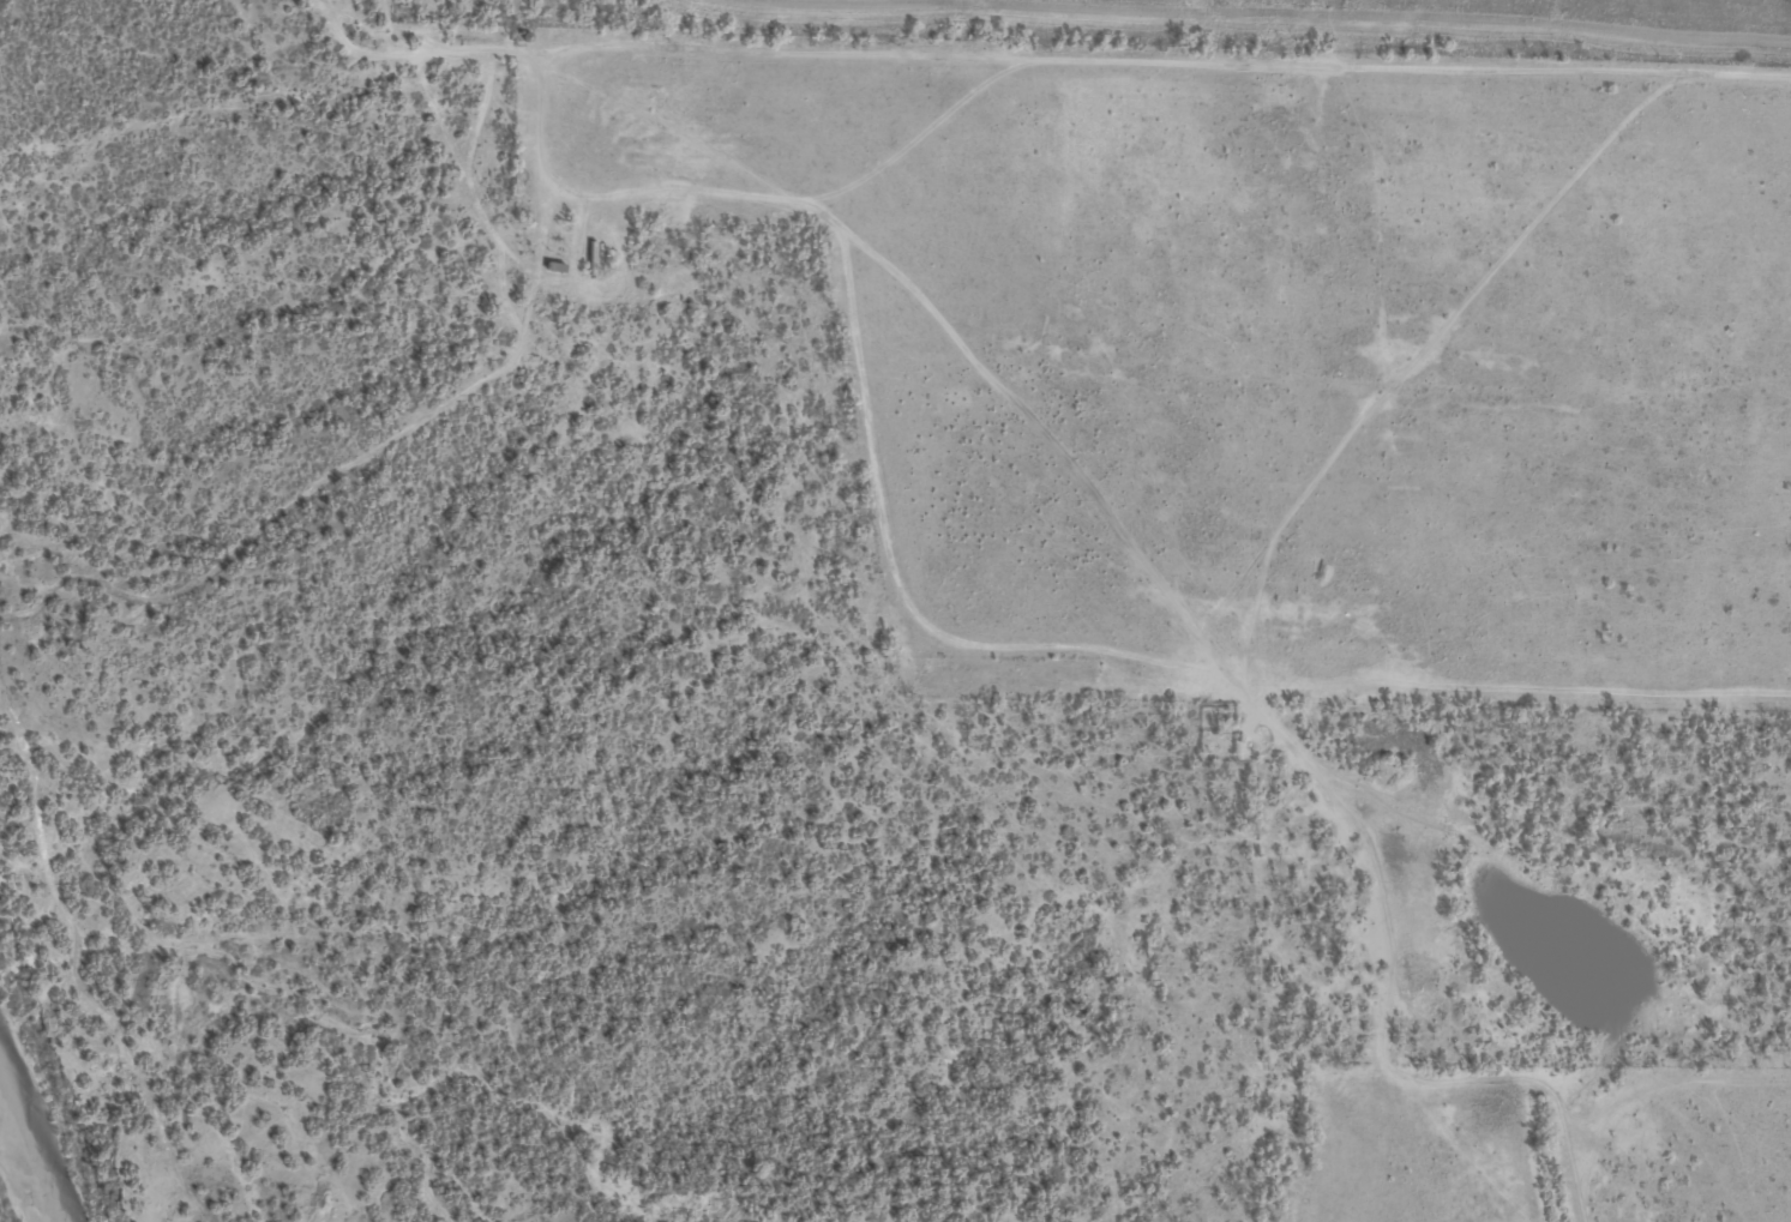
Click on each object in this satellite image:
road: (1033, 43)
river: (41, 1137)

